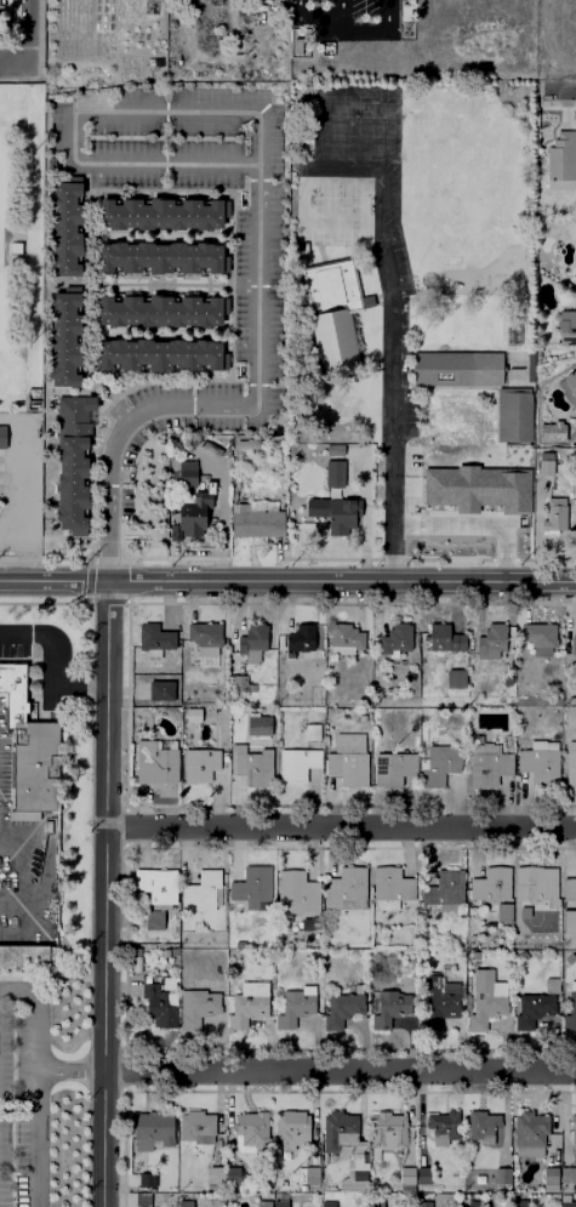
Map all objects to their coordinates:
building: (0, 1)
parking lot: (344, 19)
road: (319, 22)
road: (25, 34)
road: (377, 34)
building: (297, 42)
crop: (101, 44)
road: (12, 68)
road: (560, 92)
road: (75, 112)
building: (558, 159)
parking lot: (348, 166)
building: (160, 212)
road: (302, 223)
building: (68, 224)
building: (161, 255)
park: (2, 257)
road: (384, 262)
building: (329, 286)
building: (160, 308)
building: (565, 326)
building: (67, 335)
building: (332, 340)
building: (160, 352)
building: (455, 366)
road: (233, 375)
building: (569, 378)
road: (229, 405)
building: (511, 412)
building: (1, 435)
building: (244, 443)
building: (332, 449)
building: (73, 461)
building: (542, 465)
building: (184, 472)
building: (331, 472)
building: (475, 488)
building: (190, 509)
building: (553, 512)
road: (219, 516)
building: (326, 517)
building: (252, 520)
road: (188, 554)
road: (86, 580)
road: (287, 581)
road: (41, 604)
building: (204, 633)
building: (154, 636)
building: (340, 636)
building: (534, 636)
building: (390, 637)
building: (438, 637)
building: (253, 638)
building: (296, 638)
building: (487, 640)
building: (570, 644)
building: (289, 655)
road: (53, 661)
building: (443, 677)
building: (154, 684)
building: (240, 684)
building: (295, 695)
building: (570, 700)
building: (255, 725)
building: (308, 731)
building: (28, 750)
building: (346, 761)
building: (536, 761)
building: (569, 761)
building: (150, 762)
building: (199, 762)
building: (293, 763)
building: (435, 764)
building: (247, 765)
building: (389, 767)
building: (485, 767)
road: (340, 826)
road: (32, 873)
building: (487, 883)
building: (152, 884)
building: (251, 887)
building: (535, 887)
building: (296, 888)
building: (347, 888)
building: (388, 889)
building: (441, 889)
building: (201, 892)
road: (103, 893)
building: (575, 903)
building: (501, 911)
building: (149, 920)
building: (284, 923)
building: (306, 923)
building: (472, 939)
building: (165, 952)
building: (473, 956)
building: (520, 956)
building: (22, 958)
building: (568, 958)
building: (136, 964)
building: (146, 978)
road: (44, 980)
building: (167, 983)
building: (549, 985)
building: (483, 1001)
building: (433, 1002)
building: (249, 1003)
building: (153, 1006)
building: (295, 1006)
building: (340, 1006)
building: (198, 1007)
building: (389, 1007)
building: (569, 1007)
building: (530, 1009)
road: (68, 1070)
road: (338, 1071)
road: (35, 1084)
parking lot: (23, 1095)
building: (478, 1126)
building: (196, 1127)
building: (440, 1127)
building: (247, 1128)
building: (289, 1128)
building: (152, 1129)
building: (333, 1129)
building: (383, 1131)
building: (571, 1132)
building: (526, 1133)
building: (212, 1174)
building: (304, 1175)
building: (355, 1175)
building: (403, 1175)
building: (422, 1175)
building: (498, 1175)
building: (564, 1177)
building: (547, 1178)
building: (142, 1179)
building: (372, 1197)
building: (497, 1199)
building: (142, 1200)
building: (183, 1203)
building: (258, 1203)
building: (421, 1203)
building: (517, 1203)
building: (276, 1205)
building: (326, 1205)
building: (468, 1205)
building: (564, 1205)

